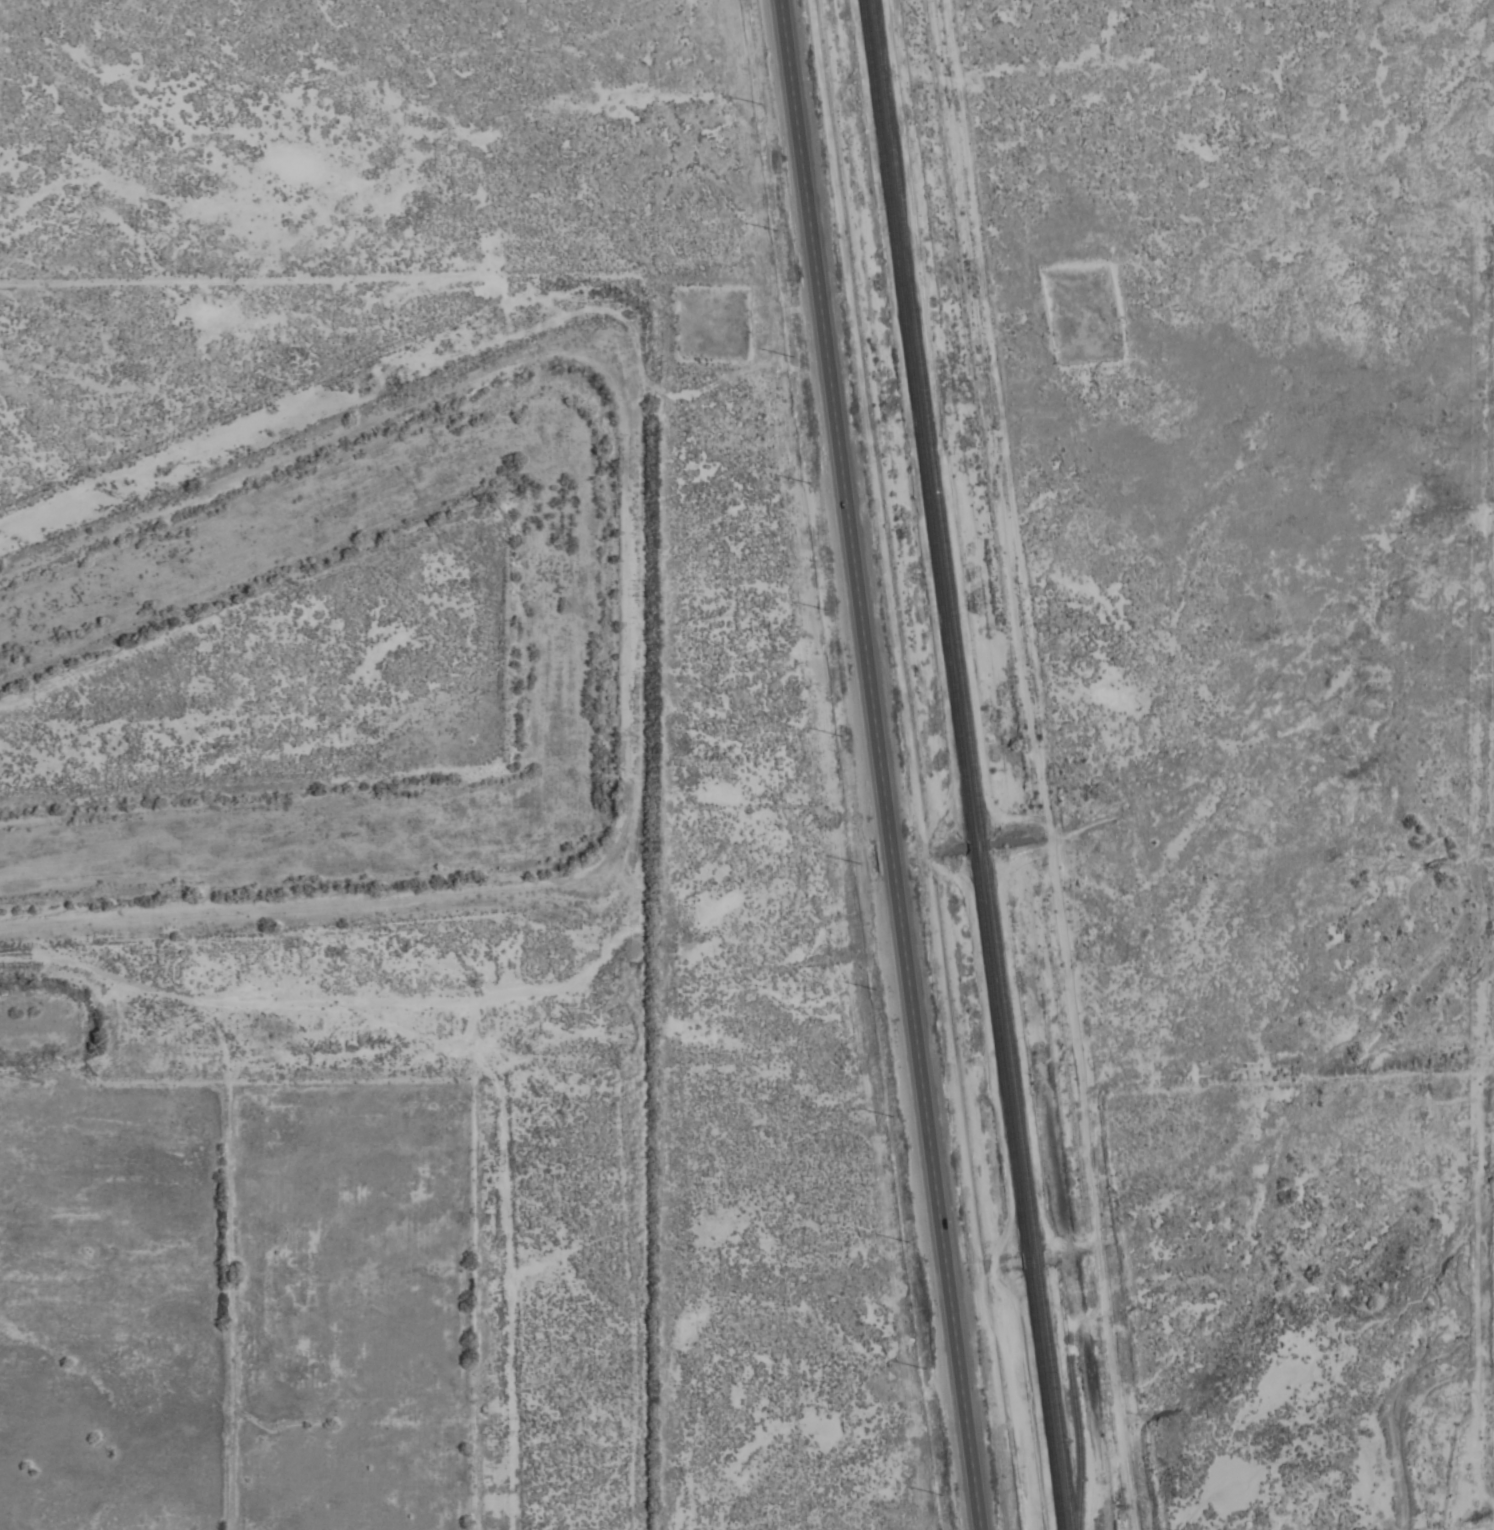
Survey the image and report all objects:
railway: (917, 419)
railway: (926, 419)
road: (881, 765)
road: (1043, 765)
railway: (982, 846)
railway: (973, 848)
railway: (1009, 1052)
railway: (999, 1053)
railway: (1026, 1259)
railway: (1036, 1259)
railway: (1045, 1400)
railway: (1054, 1400)

